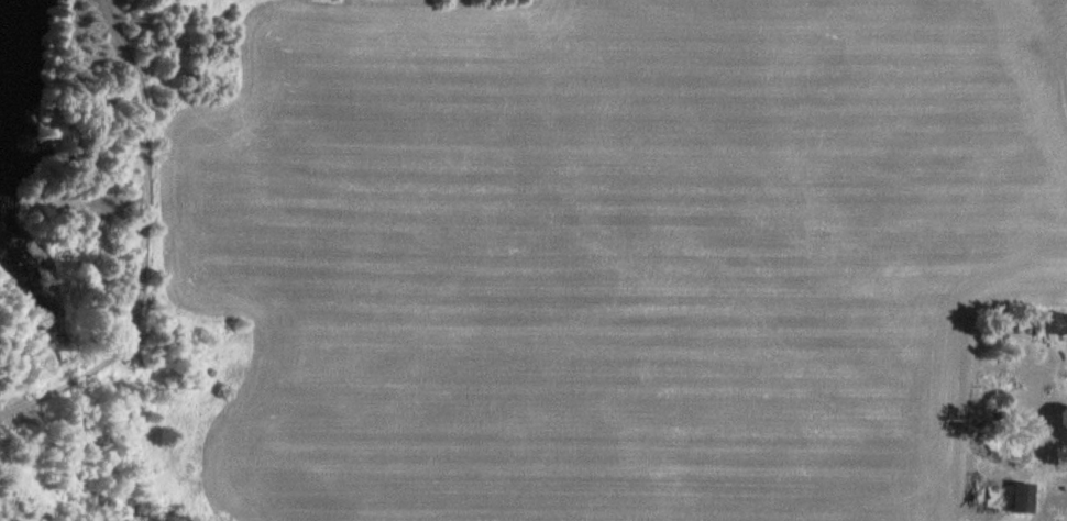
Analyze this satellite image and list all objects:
building: (1047, 321)
building: (1019, 496)

